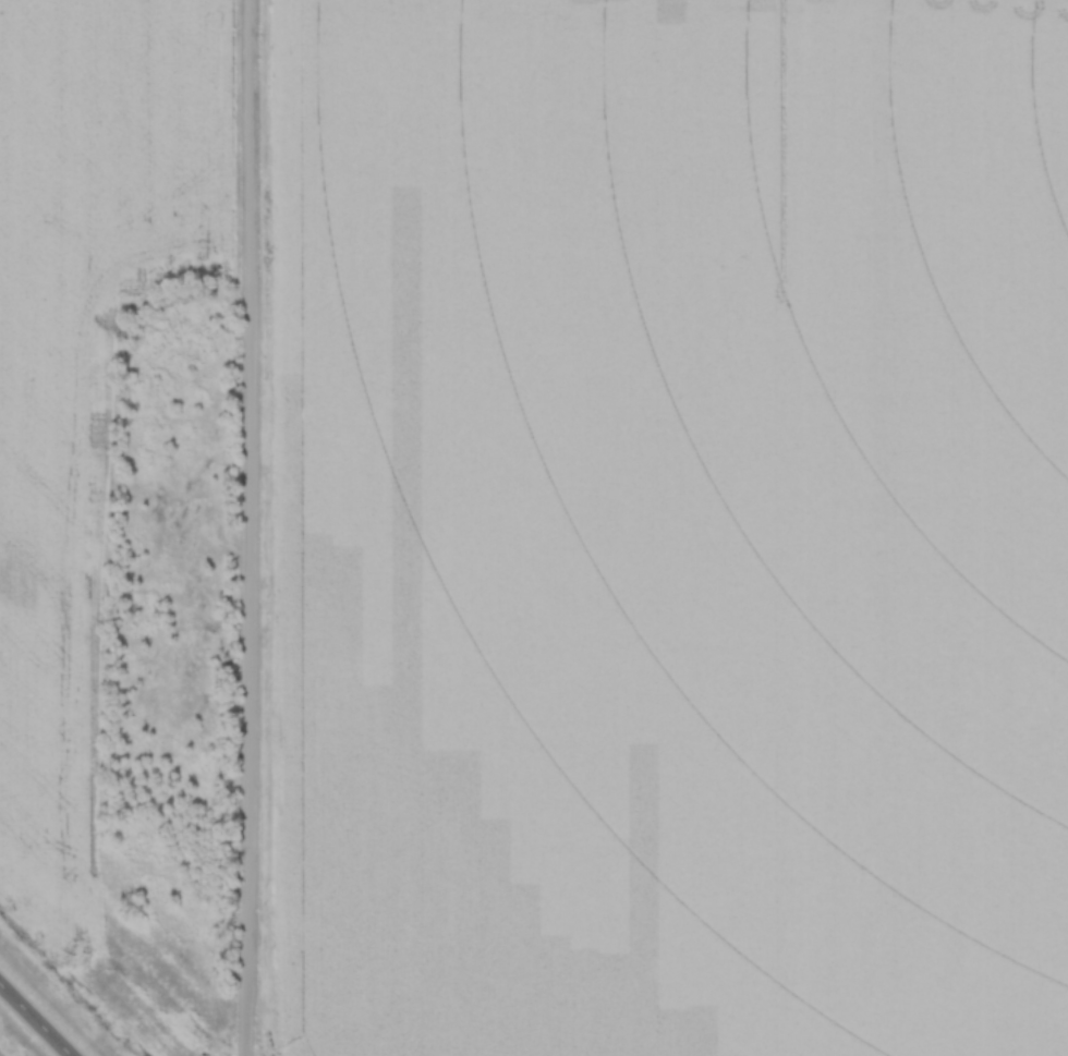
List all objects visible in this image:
road: (252, 527)
road: (35, 1020)

